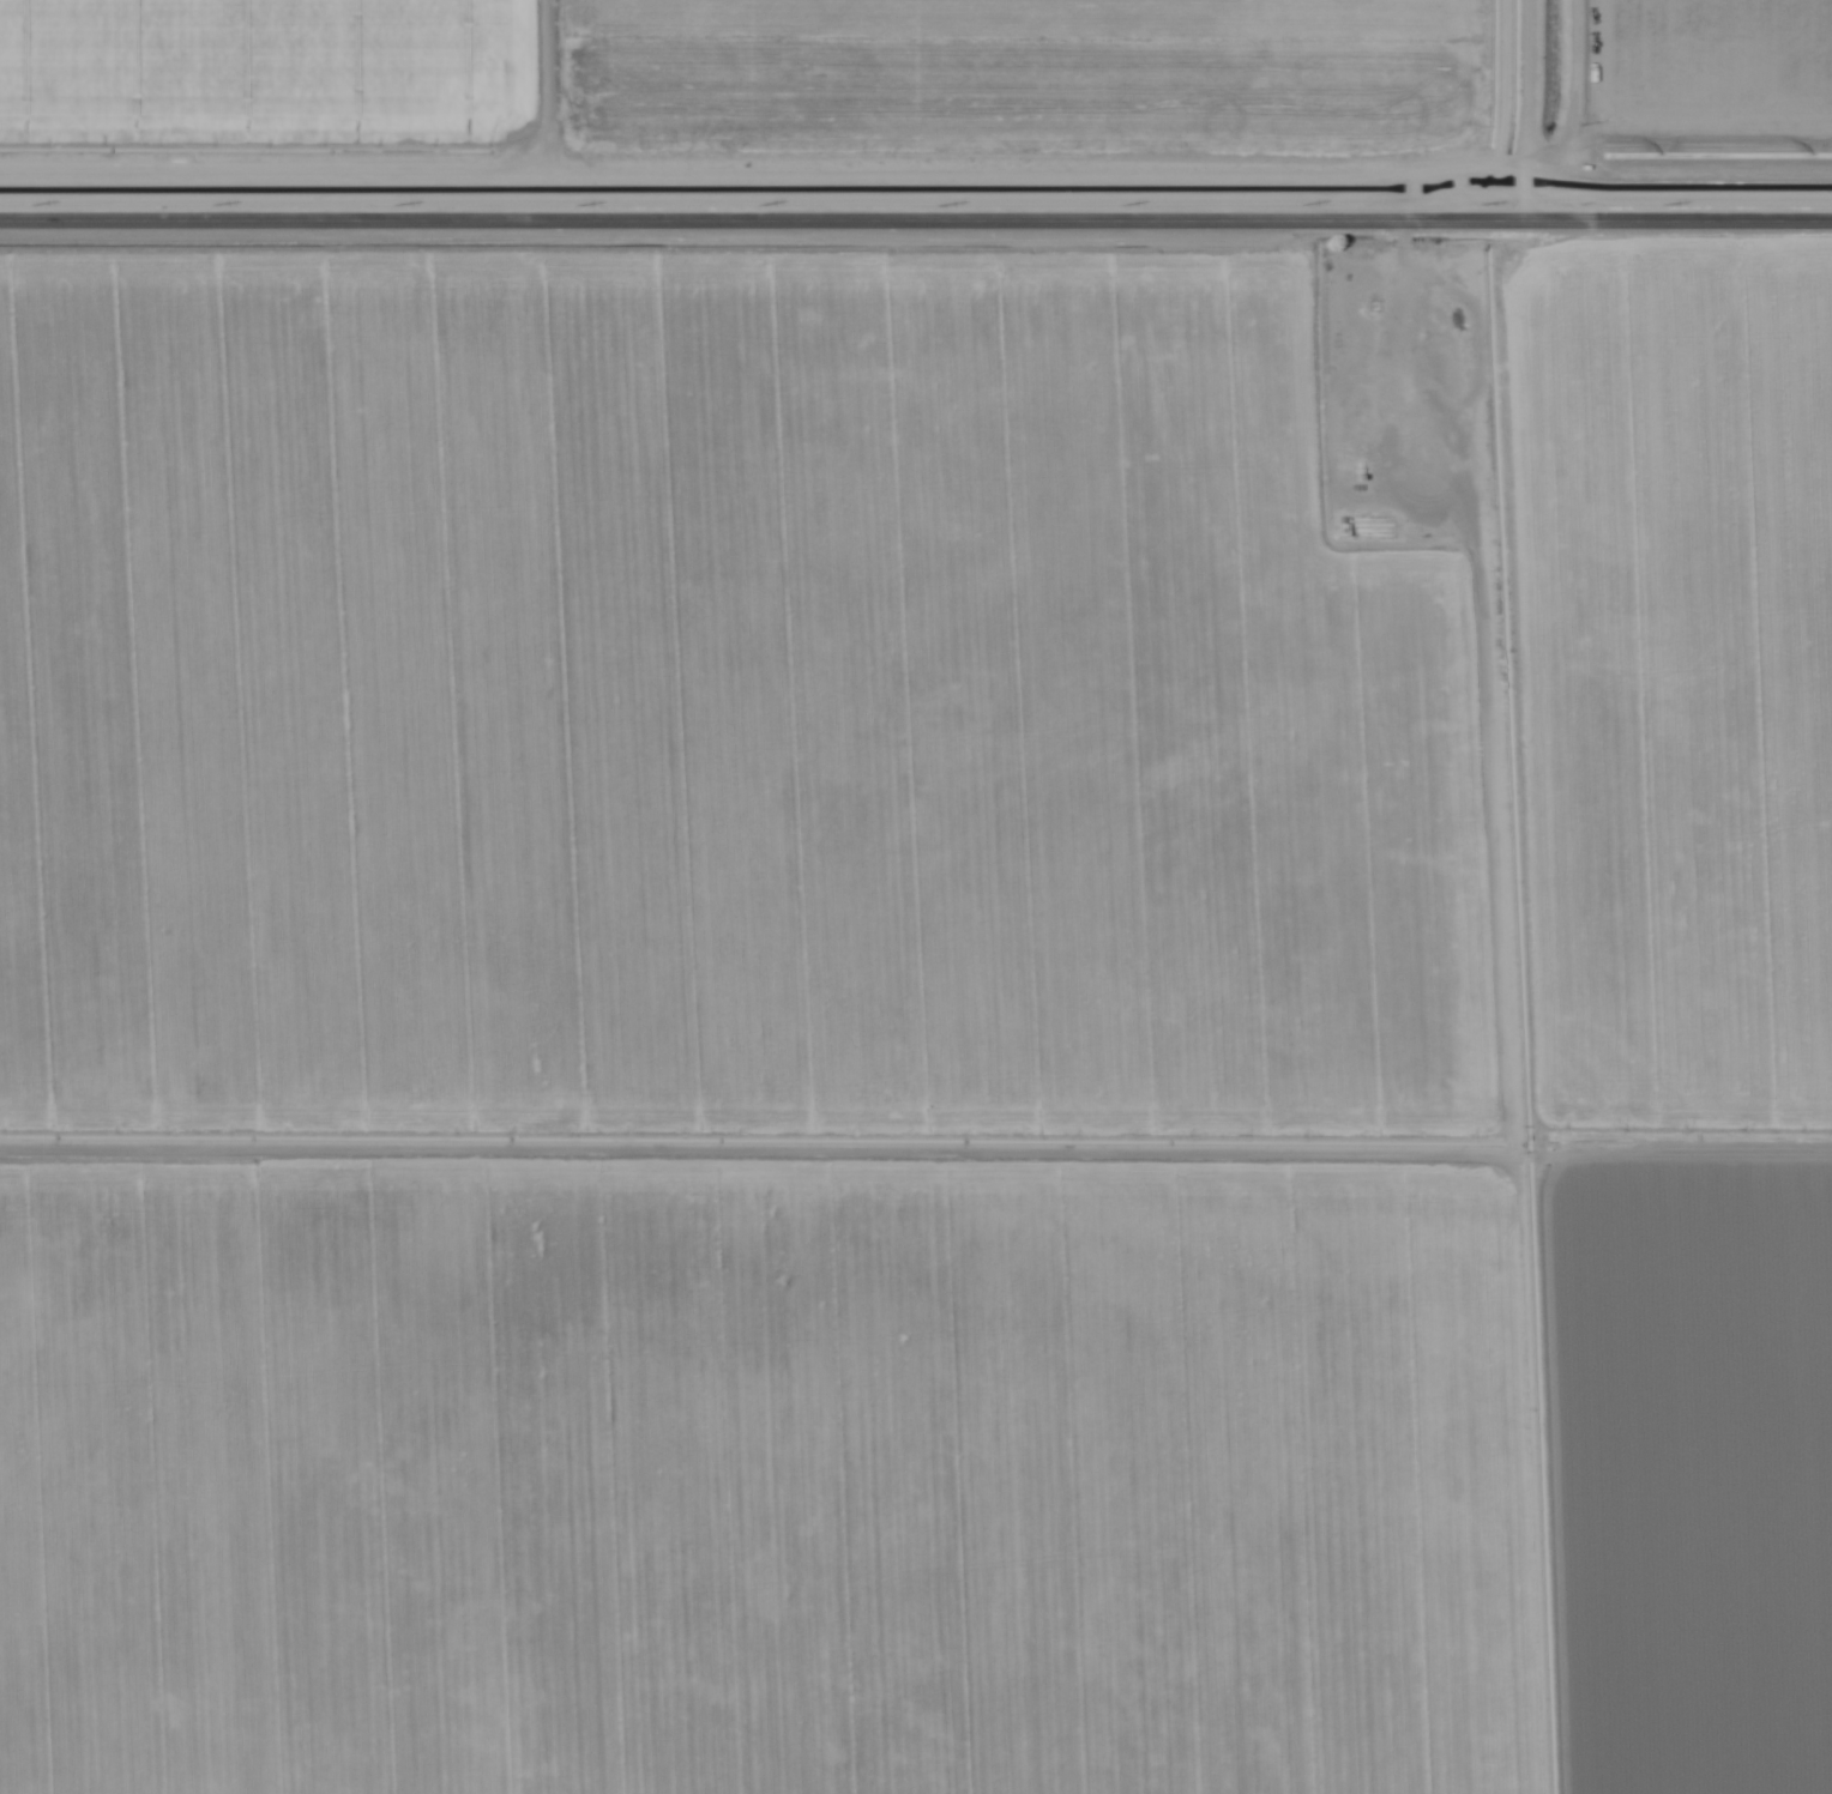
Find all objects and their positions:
road: (916, 216)
building: (1394, 496)
crop: (1671, 689)

